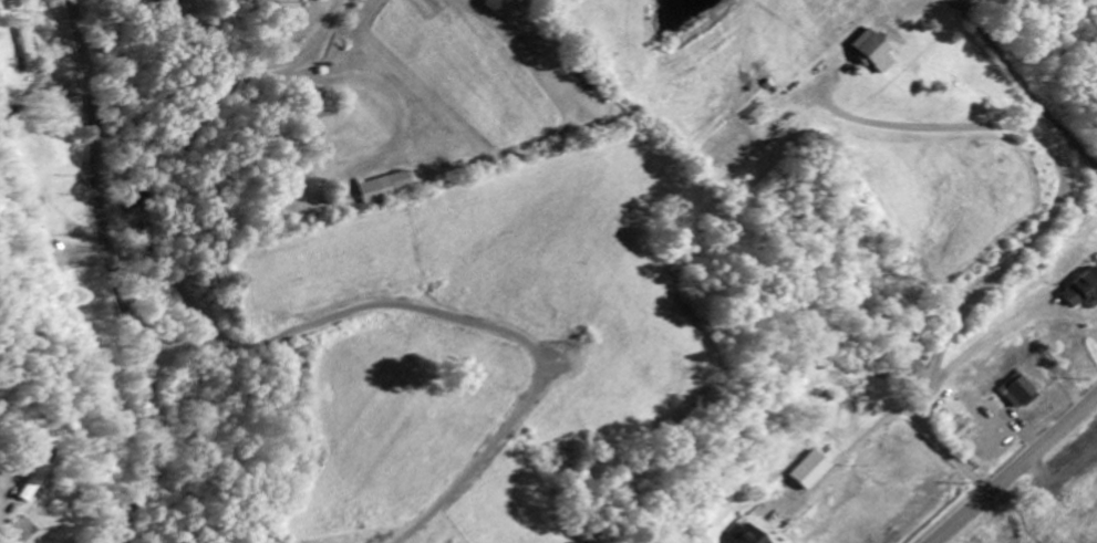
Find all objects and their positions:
building: (29, 52)
building: (875, 52)
road: (138, 104)
road: (46, 142)
road: (151, 158)
building: (384, 189)
road: (117, 281)
building: (1083, 290)
road: (462, 321)
building: (1022, 394)
building: (960, 426)
road: (1015, 470)
building: (813, 471)
building: (752, 536)

